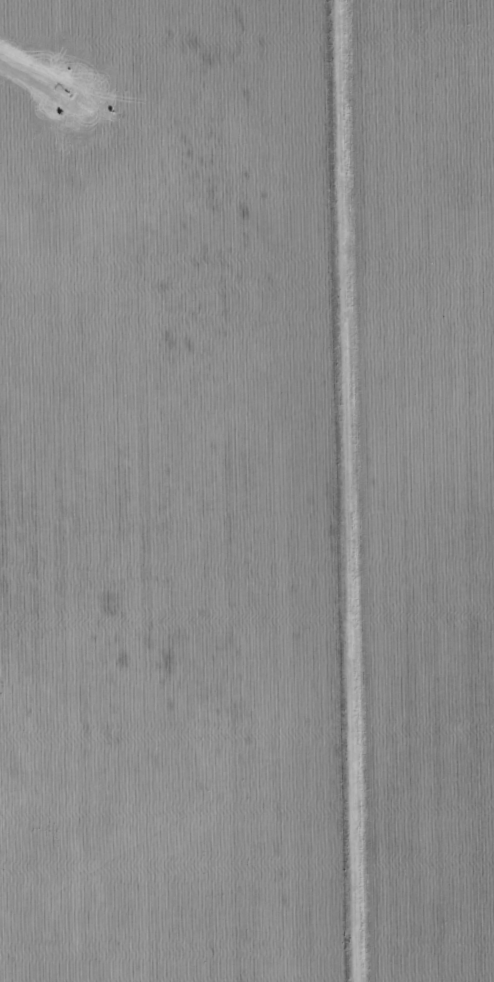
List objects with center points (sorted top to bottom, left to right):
road: (355, 491)

